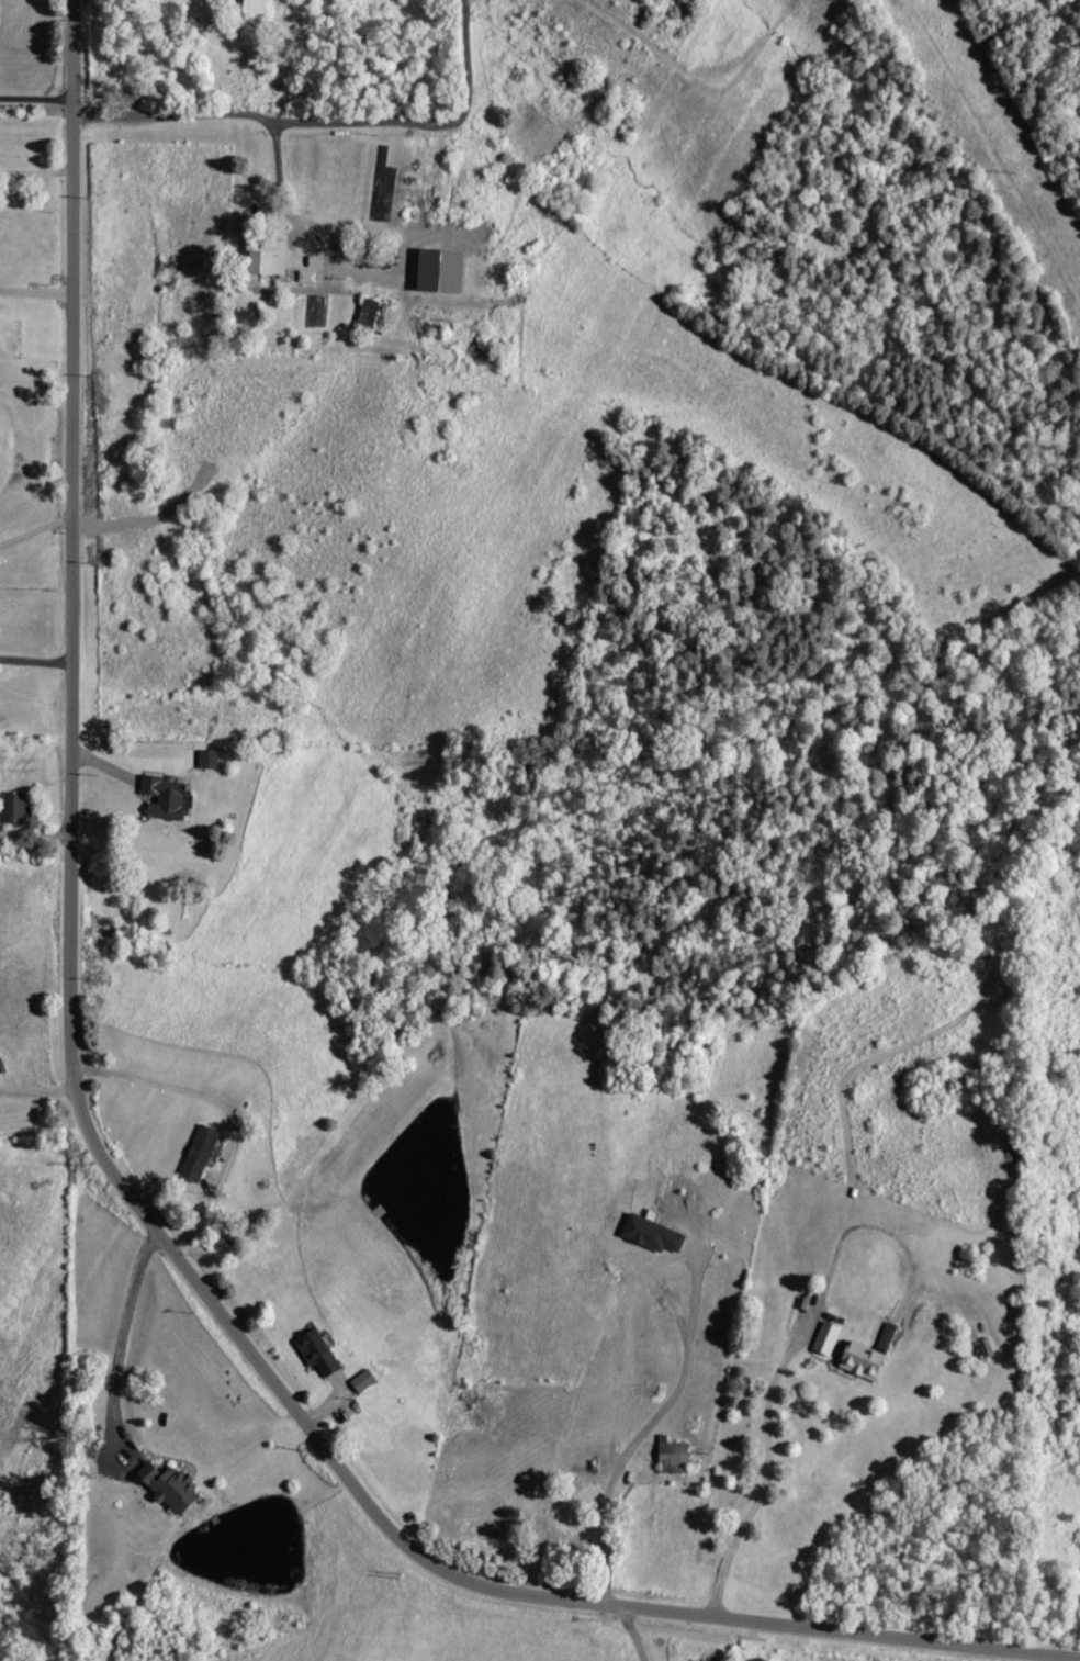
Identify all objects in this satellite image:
building: (259, 5)
road: (35, 96)
road: (167, 112)
road: (418, 122)
road: (36, 172)
road: (301, 233)
building: (270, 256)
road: (35, 290)
building: (372, 312)
road: (35, 529)
road: (35, 659)
building: (211, 759)
building: (170, 797)
building: (16, 807)
building: (202, 1153)
road: (103, 1161)
building: (829, 1337)
road: (117, 1338)
building: (322, 1353)
building: (868, 1361)
building: (365, 1380)
building: (675, 1451)
road: (763, 1472)
building: (176, 1486)
road: (629, 1634)

